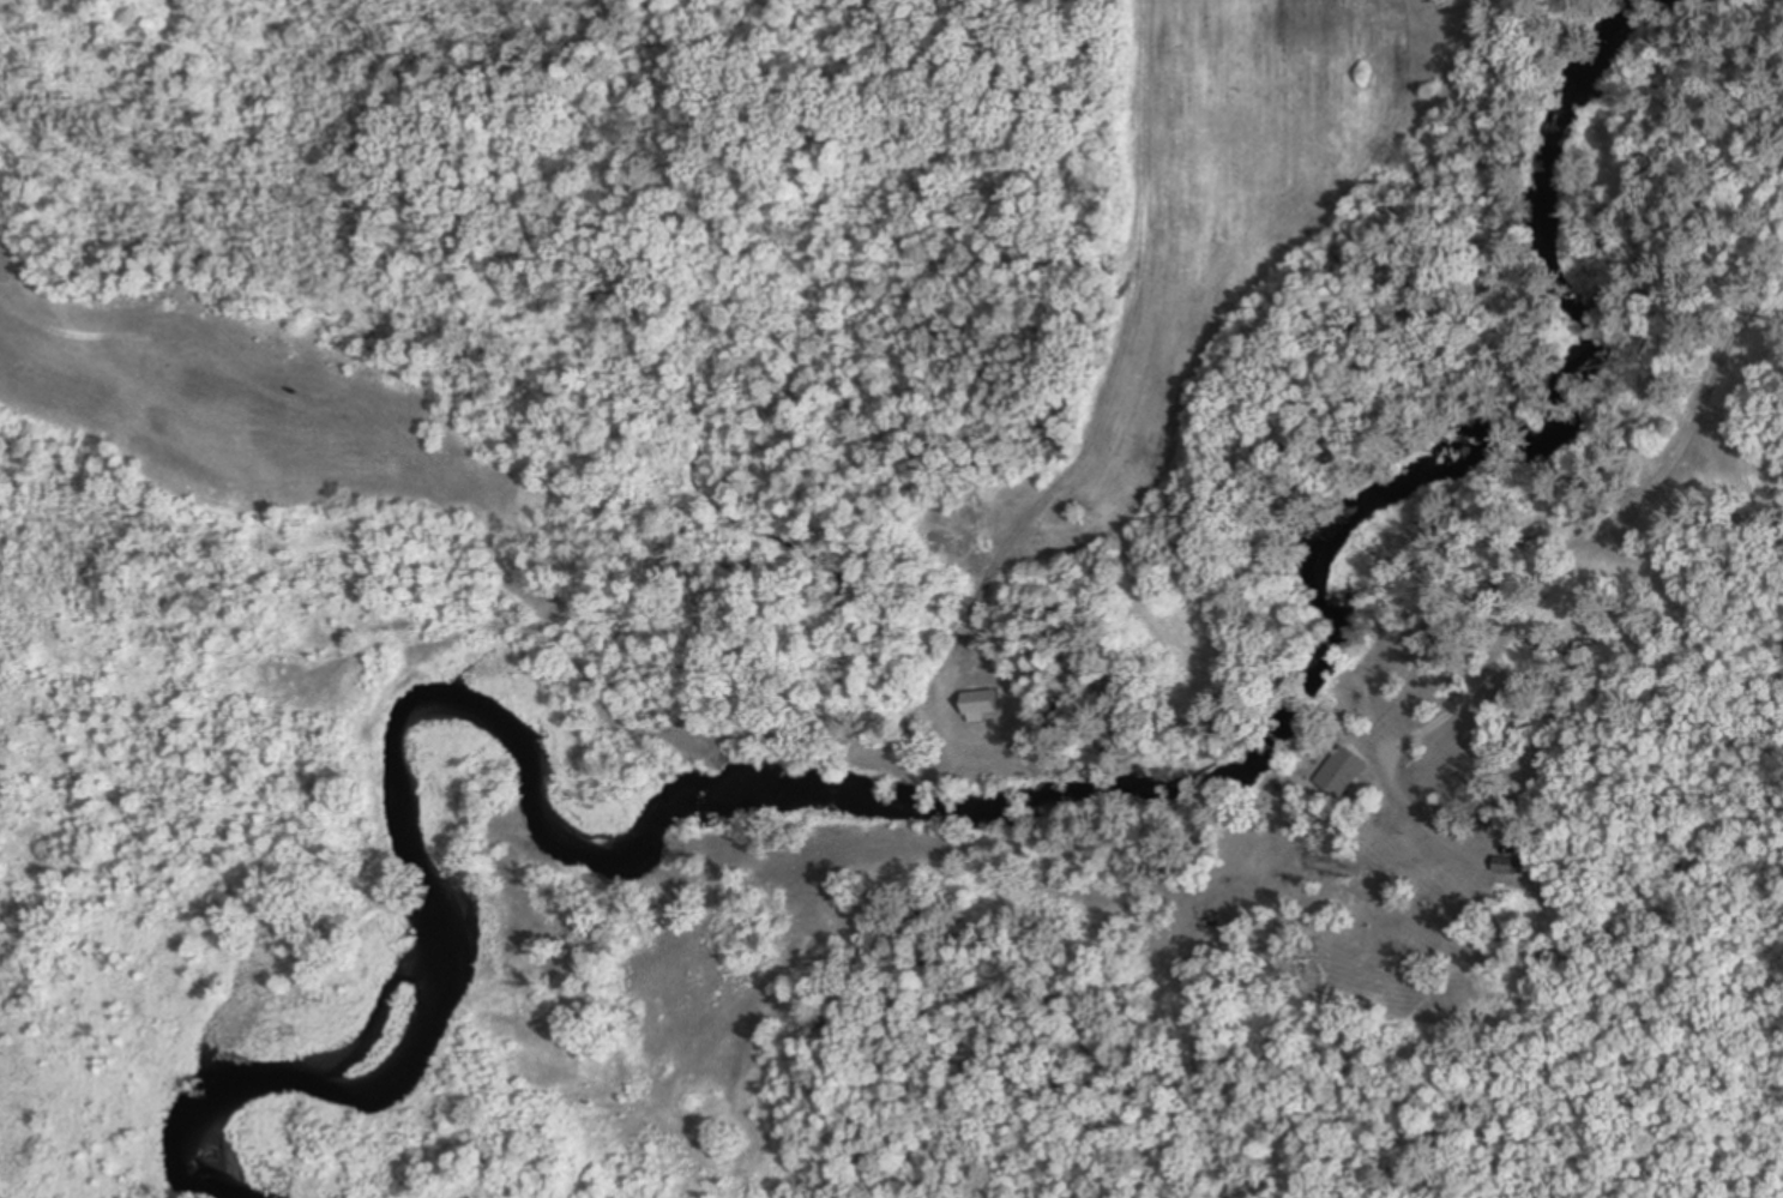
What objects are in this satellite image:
road: (1619, 489)
building: (1337, 773)
building: (1504, 867)
building: (1496, 920)

